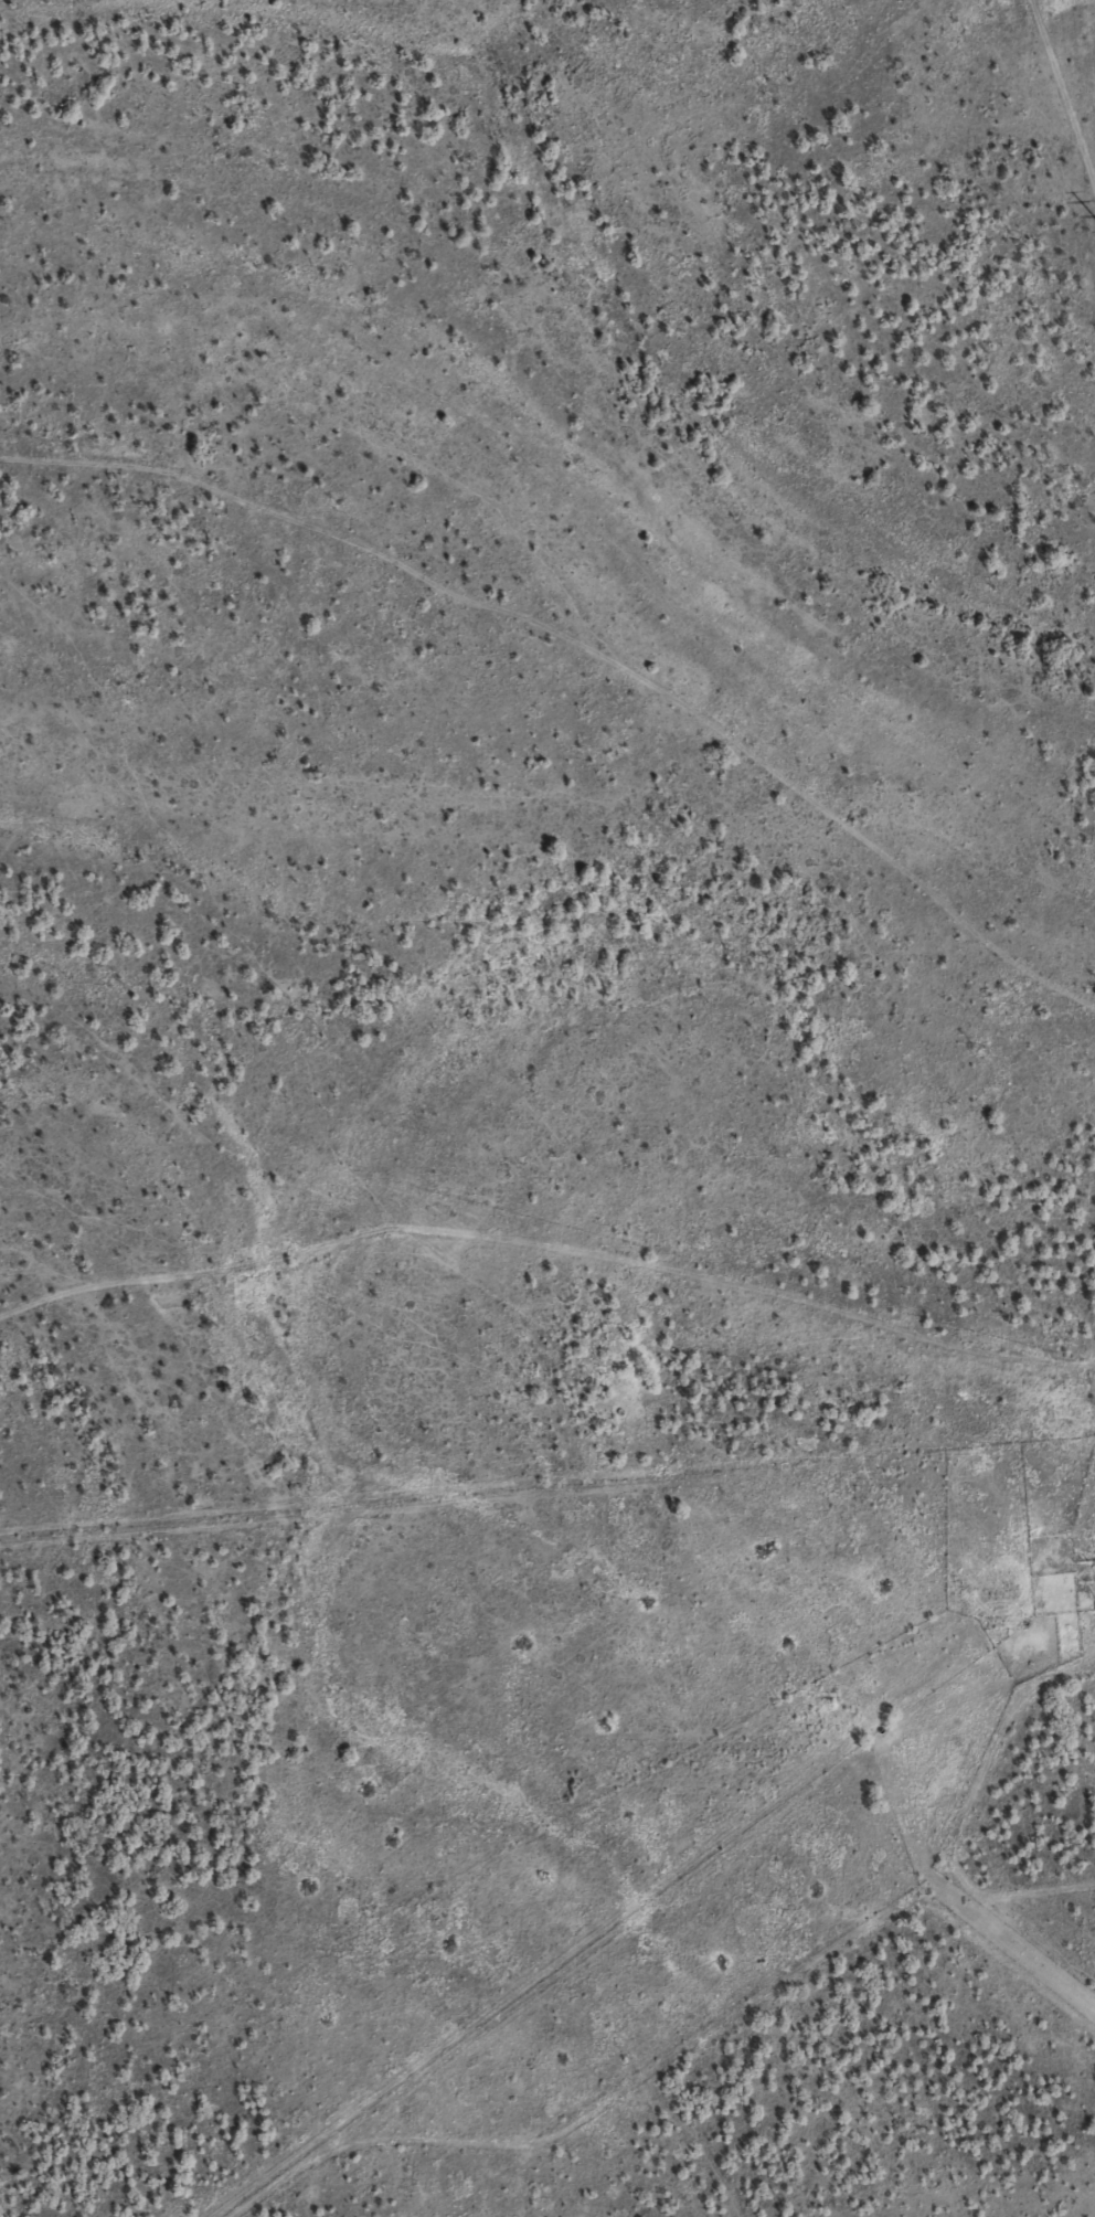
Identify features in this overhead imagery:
road: (1070, 99)
road: (547, 1283)

